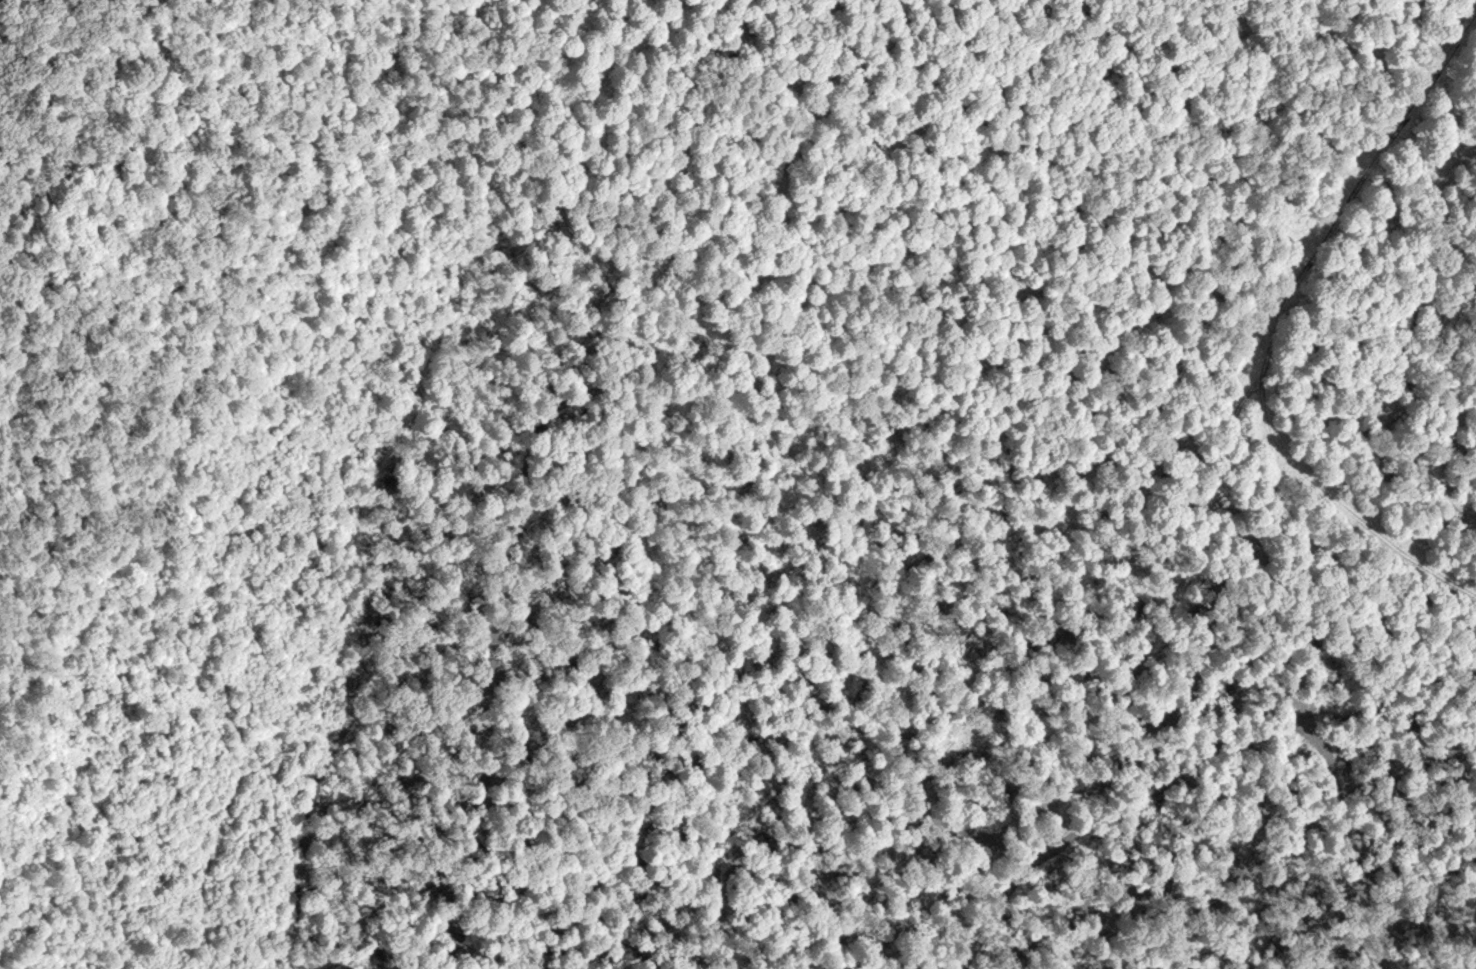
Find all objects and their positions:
road: (1228, 482)

